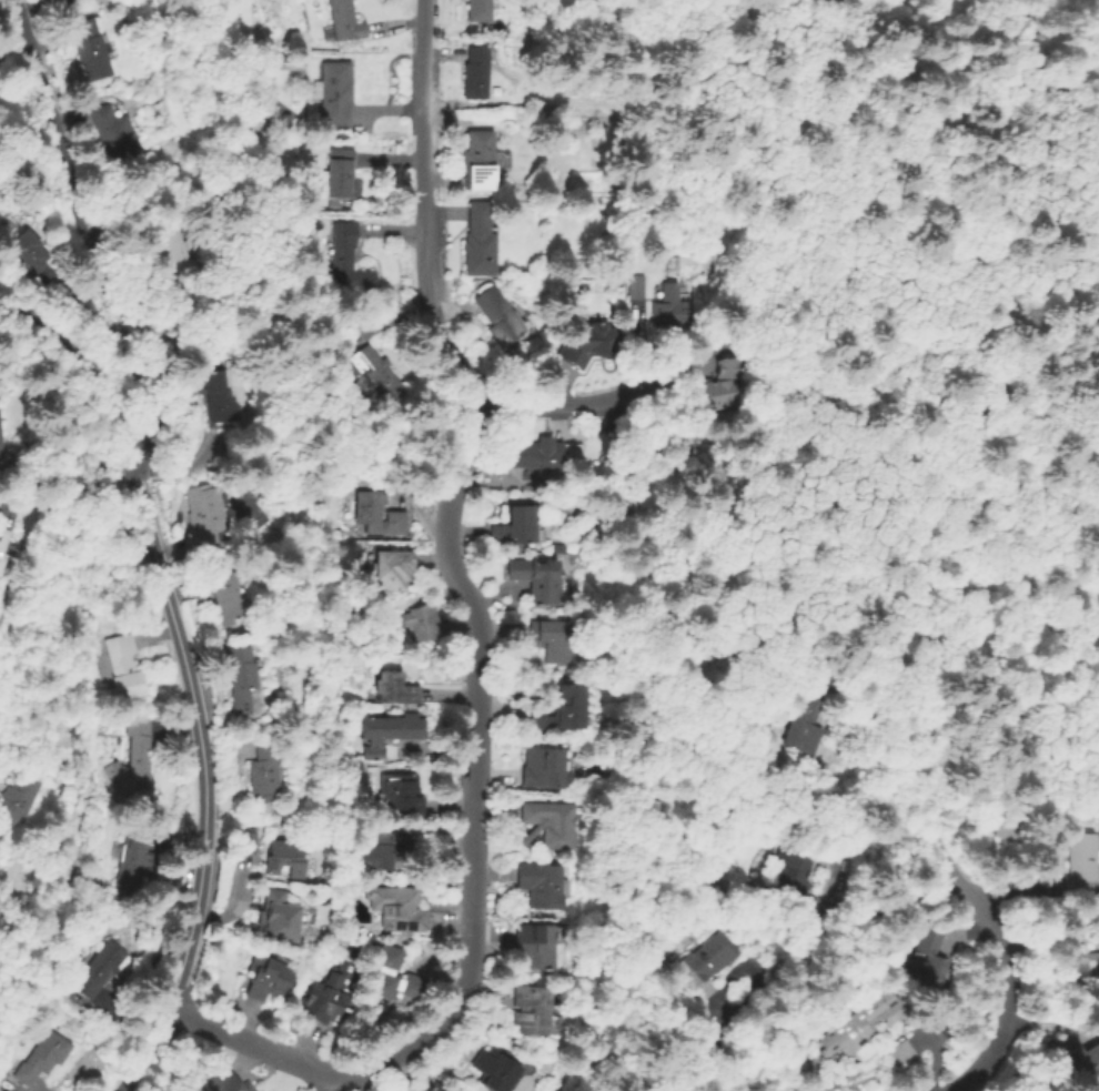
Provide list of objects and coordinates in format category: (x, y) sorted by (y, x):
road: (803, 8)
building: (480, 10)
road: (807, 21)
building: (342, 22)
building: (90, 48)
building: (477, 72)
building: (336, 91)
road: (831, 110)
building: (288, 121)
building: (115, 134)
building: (483, 160)
road: (1016, 171)
building: (340, 174)
road: (423, 208)
road: (89, 238)
building: (481, 239)
building: (33, 254)
building: (177, 254)
building: (350, 256)
building: (641, 286)
road: (753, 290)
road: (857, 296)
building: (675, 307)
building: (498, 316)
building: (589, 345)
building: (375, 372)
building: (727, 387)
building: (219, 396)
road: (108, 406)
road: (776, 420)
building: (546, 454)
road: (887, 463)
building: (205, 515)
building: (376, 516)
building: (517, 526)
building: (4, 546)
building: (561, 548)
building: (395, 569)
building: (540, 579)
building: (226, 595)
road: (63, 618)
building: (421, 625)
road: (1016, 638)
building: (554, 640)
building: (124, 668)
building: (242, 677)
road: (936, 687)
building: (395, 688)
building: (556, 710)
building: (809, 719)
building: (391, 731)
building: (134, 758)
road: (883, 758)
road: (475, 764)
building: (544, 768)
building: (268, 770)
road: (201, 779)
building: (405, 794)
building: (16, 796)
road: (922, 807)
building: (579, 811)
building: (1016, 821)
building: (549, 824)
building: (249, 841)
building: (578, 841)
building: (386, 849)
building: (134, 855)
building: (285, 856)
building: (1085, 865)
building: (796, 875)
building: (544, 885)
building: (401, 907)
building: (279, 920)
building: (537, 947)
road: (1002, 956)
building: (706, 958)
building: (928, 958)
building: (1075, 966)
building: (102, 969)
building: (395, 974)
building: (271, 978)
building: (325, 1000)
building: (533, 1009)
building: (868, 1019)
building: (554, 1024)
road: (150, 1034)
road: (255, 1045)
building: (905, 1051)
building: (46, 1055)
building: (496, 1069)
building: (1080, 1069)
road: (127, 1077)
building: (232, 1081)
building: (436, 1088)
road: (344, 1090)
building: (424, 1090)

